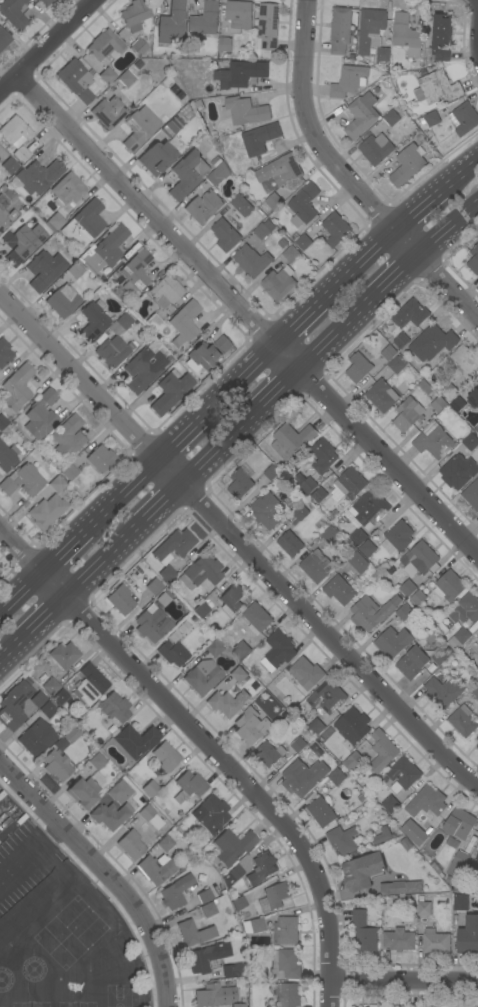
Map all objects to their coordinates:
building: (44, 3)
road: (476, 9)
building: (13, 13)
building: (135, 15)
building: (239, 16)
building: (205, 19)
building: (171, 22)
building: (268, 26)
building: (340, 30)
building: (371, 30)
building: (407, 35)
building: (441, 37)
building: (4, 39)
building: (104, 45)
building: (225, 45)
road: (47, 47)
building: (138, 47)
building: (383, 54)
building: (92, 64)
building: (243, 73)
building: (107, 76)
building: (125, 78)
building: (169, 80)
building: (77, 81)
building: (349, 81)
building: (437, 88)
building: (200, 106)
building: (244, 111)
building: (108, 112)
building: (179, 114)
building: (361, 115)
building: (392, 118)
building: (464, 118)
building: (165, 119)
building: (432, 119)
building: (172, 127)
building: (139, 128)
building: (15, 132)
building: (260, 139)
building: (376, 149)
building: (21, 154)
building: (156, 158)
building: (216, 162)
building: (407, 165)
building: (9, 166)
building: (280, 170)
building: (187, 174)
building: (218, 174)
building: (38, 176)
road: (346, 177)
road: (459, 178)
building: (67, 190)
building: (273, 201)
building: (242, 205)
building: (304, 205)
building: (204, 207)
road: (418, 212)
building: (5, 214)
building: (56, 221)
building: (84, 224)
road: (445, 224)
building: (336, 229)
building: (264, 230)
building: (225, 235)
building: (22, 243)
building: (303, 243)
building: (106, 250)
building: (291, 254)
building: (474, 260)
building: (252, 261)
road: (358, 268)
building: (45, 270)
building: (74, 270)
building: (135, 272)
road: (390, 273)
building: (115, 276)
building: (103, 279)
building: (278, 284)
building: (165, 291)
building: (63, 300)
building: (413, 313)
road: (247, 316)
building: (92, 321)
building: (124, 321)
building: (153, 322)
building: (184, 323)
road: (299, 325)
road: (332, 330)
building: (400, 341)
building: (432, 343)
building: (111, 352)
building: (4, 353)
building: (210, 353)
building: (388, 353)
building: (465, 360)
building: (397, 364)
building: (144, 367)
building: (358, 368)
road: (237, 382)
building: (17, 387)
road: (279, 387)
building: (170, 391)
building: (449, 391)
building: (382, 396)
building: (432, 396)
building: (473, 399)
building: (458, 404)
building: (408, 414)
building: (41, 415)
building: (3, 422)
road: (180, 434)
building: (67, 438)
building: (291, 440)
building: (434, 441)
building: (470, 441)
road: (227, 444)
building: (323, 456)
building: (7, 457)
building: (100, 458)
building: (67, 471)
building: (458, 471)
building: (271, 472)
building: (23, 480)
building: (241, 482)
building: (351, 482)
building: (57, 484)
building: (307, 484)
road: (124, 492)
building: (472, 494)
building: (319, 495)
road: (167, 502)
building: (369, 508)
building: (266, 510)
building: (46, 512)
building: (301, 513)
building: (331, 534)
building: (399, 536)
building: (357, 537)
road: (245, 539)
building: (290, 543)
building: (173, 546)
building: (367, 549)
road: (65, 551)
building: (420, 558)
road: (107, 561)
building: (358, 562)
building: (316, 566)
building: (0, 571)
building: (200, 572)
building: (167, 573)
building: (153, 586)
building: (448, 587)
building: (408, 588)
building: (339, 590)
road: (23, 593)
building: (418, 598)
building: (231, 599)
building: (120, 600)
building: (466, 609)
building: (201, 610)
building: (404, 612)
building: (370, 613)
road: (50, 615)
building: (257, 618)
building: (152, 625)
building: (477, 632)
building: (459, 638)
building: (392, 642)
road: (15, 648)
building: (216, 649)
building: (242, 650)
building: (278, 651)
building: (173, 653)
building: (63, 655)
building: (440, 658)
building: (412, 663)
building: (477, 670)
building: (238, 674)
building: (304, 675)
building: (203, 677)
building: (90, 684)
building: (51, 686)
building: (475, 689)
building: (442, 692)
building: (61, 696)
building: (327, 697)
building: (38, 699)
building: (222, 704)
building: (13, 706)
building: (114, 708)
building: (47, 709)
building: (463, 721)
building: (355, 725)
building: (251, 726)
building: (316, 727)
building: (71, 734)
building: (36, 738)
building: (477, 738)
building: (136, 741)
road: (207, 744)
building: (299, 745)
building: (477, 746)
building: (382, 751)
building: (269, 754)
building: (165, 756)
building: (97, 761)
building: (353, 761)
building: (57, 765)
building: (403, 773)
building: (303, 777)
building: (337, 777)
building: (188, 786)
building: (150, 789)
building: (86, 790)
building: (119, 792)
building: (431, 801)
building: (390, 804)
building: (321, 812)
building: (146, 813)
building: (213, 814)
building: (110, 815)
building: (462, 829)
building: (413, 833)
building: (382, 836)
building: (343, 840)
building: (131, 844)
building: (165, 844)
building: (407, 844)
building: (233, 846)
building: (477, 856)
building: (457, 864)
building: (156, 868)
building: (262, 868)
building: (363, 871)
road: (107, 873)
building: (232, 875)
building: (414, 887)
building: (393, 888)
building: (175, 892)
building: (276, 895)
building: (204, 896)
building: (461, 902)
building: (238, 903)
building: (424, 908)
building: (208, 910)
building: (253, 926)
building: (286, 931)
building: (194, 932)
building: (363, 932)
building: (468, 935)
building: (400, 938)
building: (435, 941)
building: (204, 957)
building: (284, 964)
building: (234, 970)
road: (404, 982)
building: (287, 994)
building: (214, 995)
building: (238, 1005)

